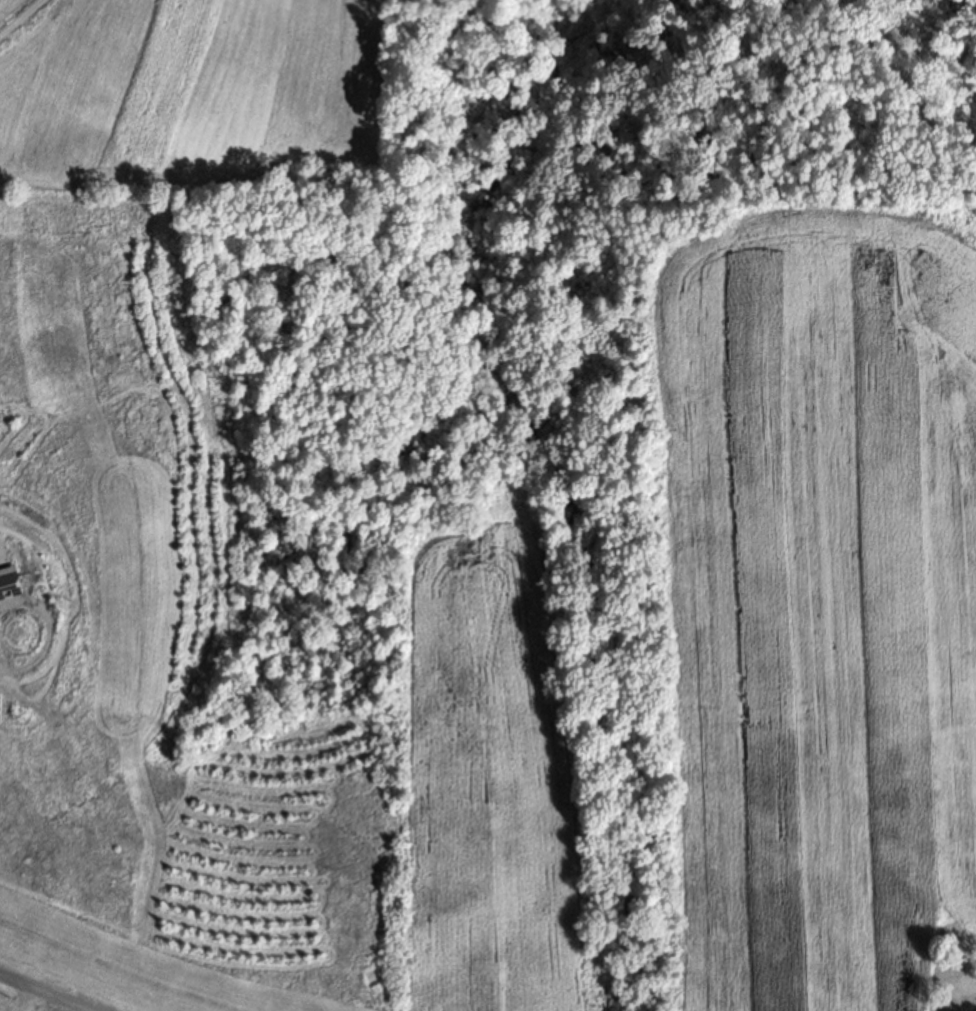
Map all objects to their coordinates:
road: (17, 15)
building: (10, 585)
road: (40, 994)
road: (29, 1002)

